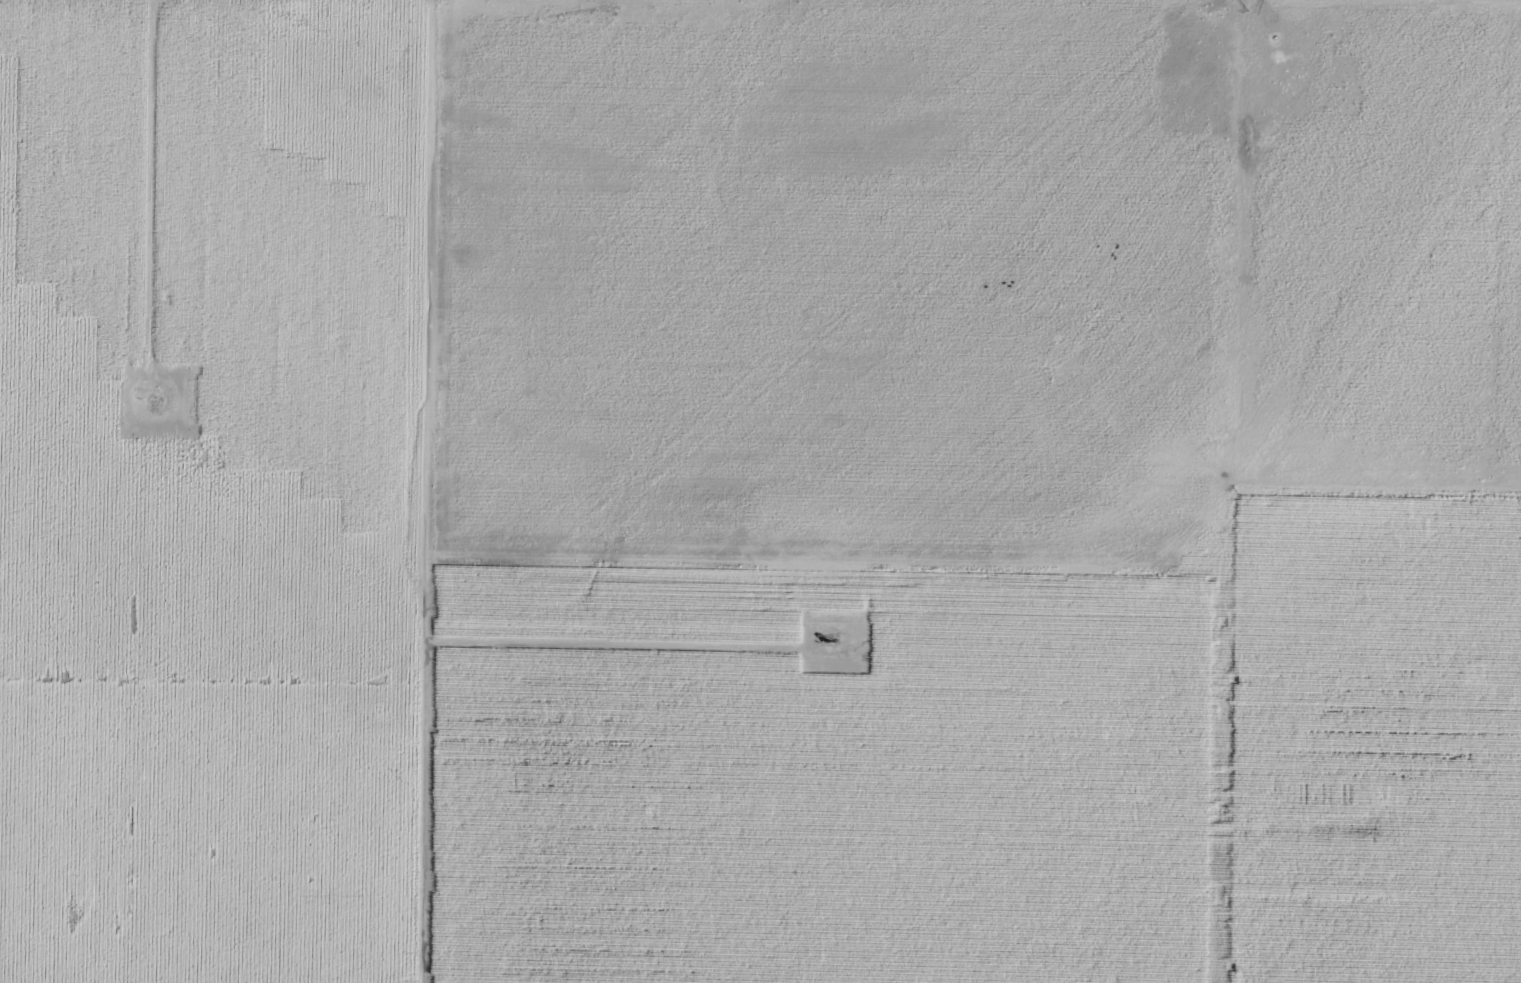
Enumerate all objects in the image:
road: (427, 491)
petroleum well: (832, 642)

